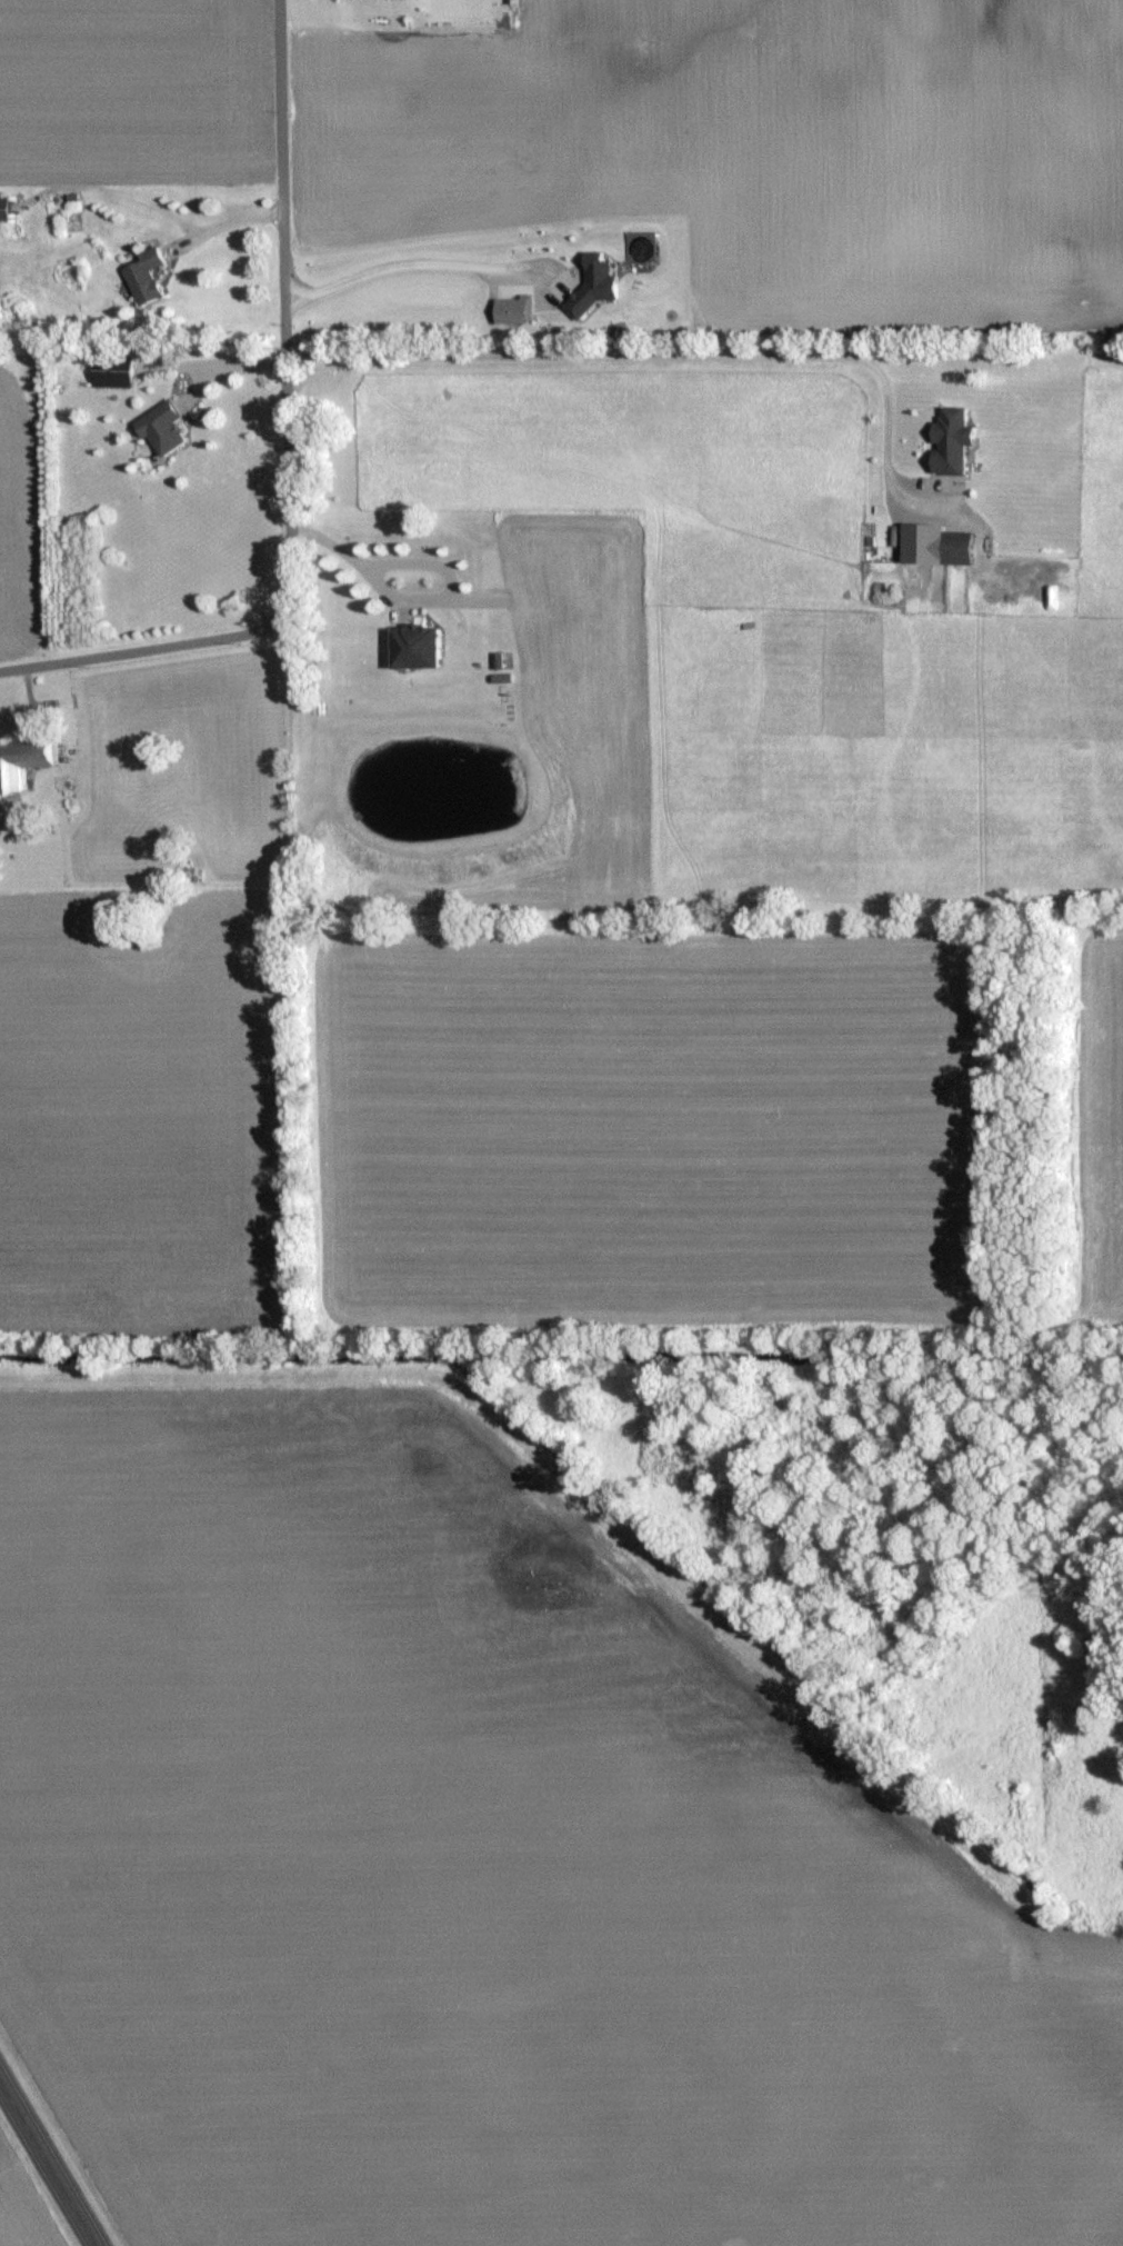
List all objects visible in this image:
building: (4, 208)
road: (223, 221)
road: (409, 258)
building: (143, 274)
road: (681, 357)
road: (228, 368)
building: (111, 372)
building: (161, 428)
building: (950, 440)
road: (287, 451)
building: (955, 545)
road: (417, 599)
building: (415, 646)
building: (22, 760)
road: (48, 2164)

